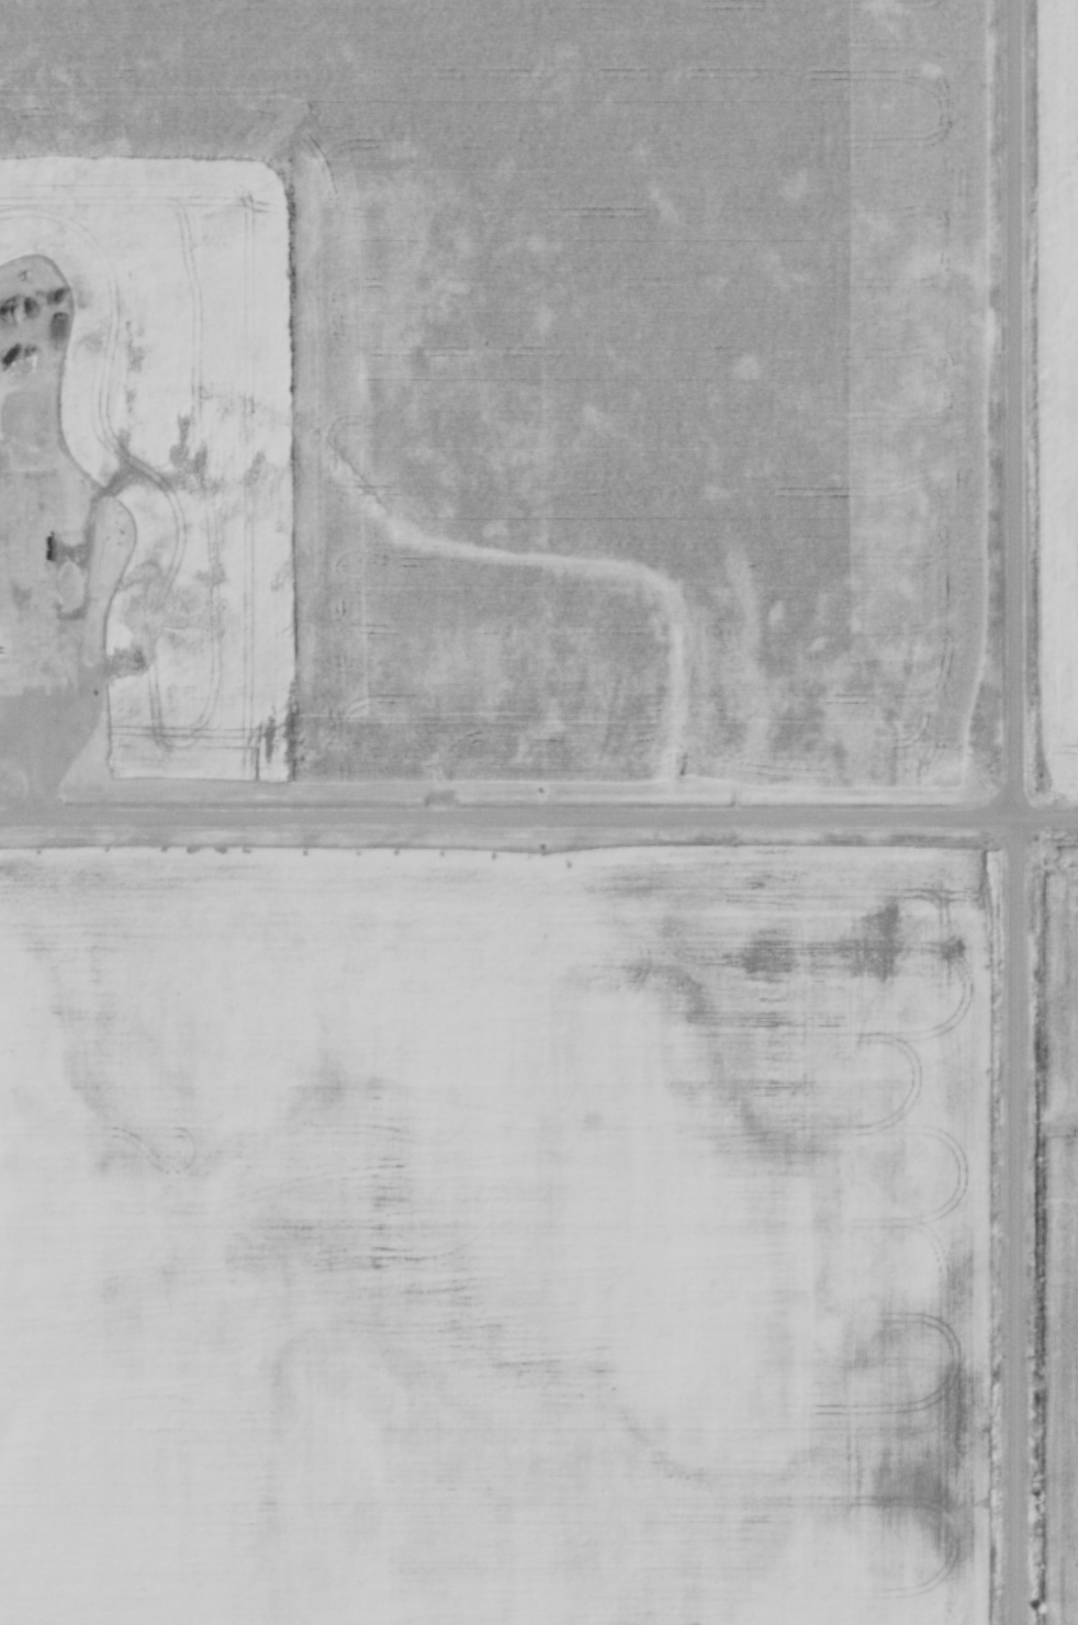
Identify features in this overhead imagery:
building: (0, 641)
road: (35, 781)
road: (1018, 811)
road: (539, 822)

